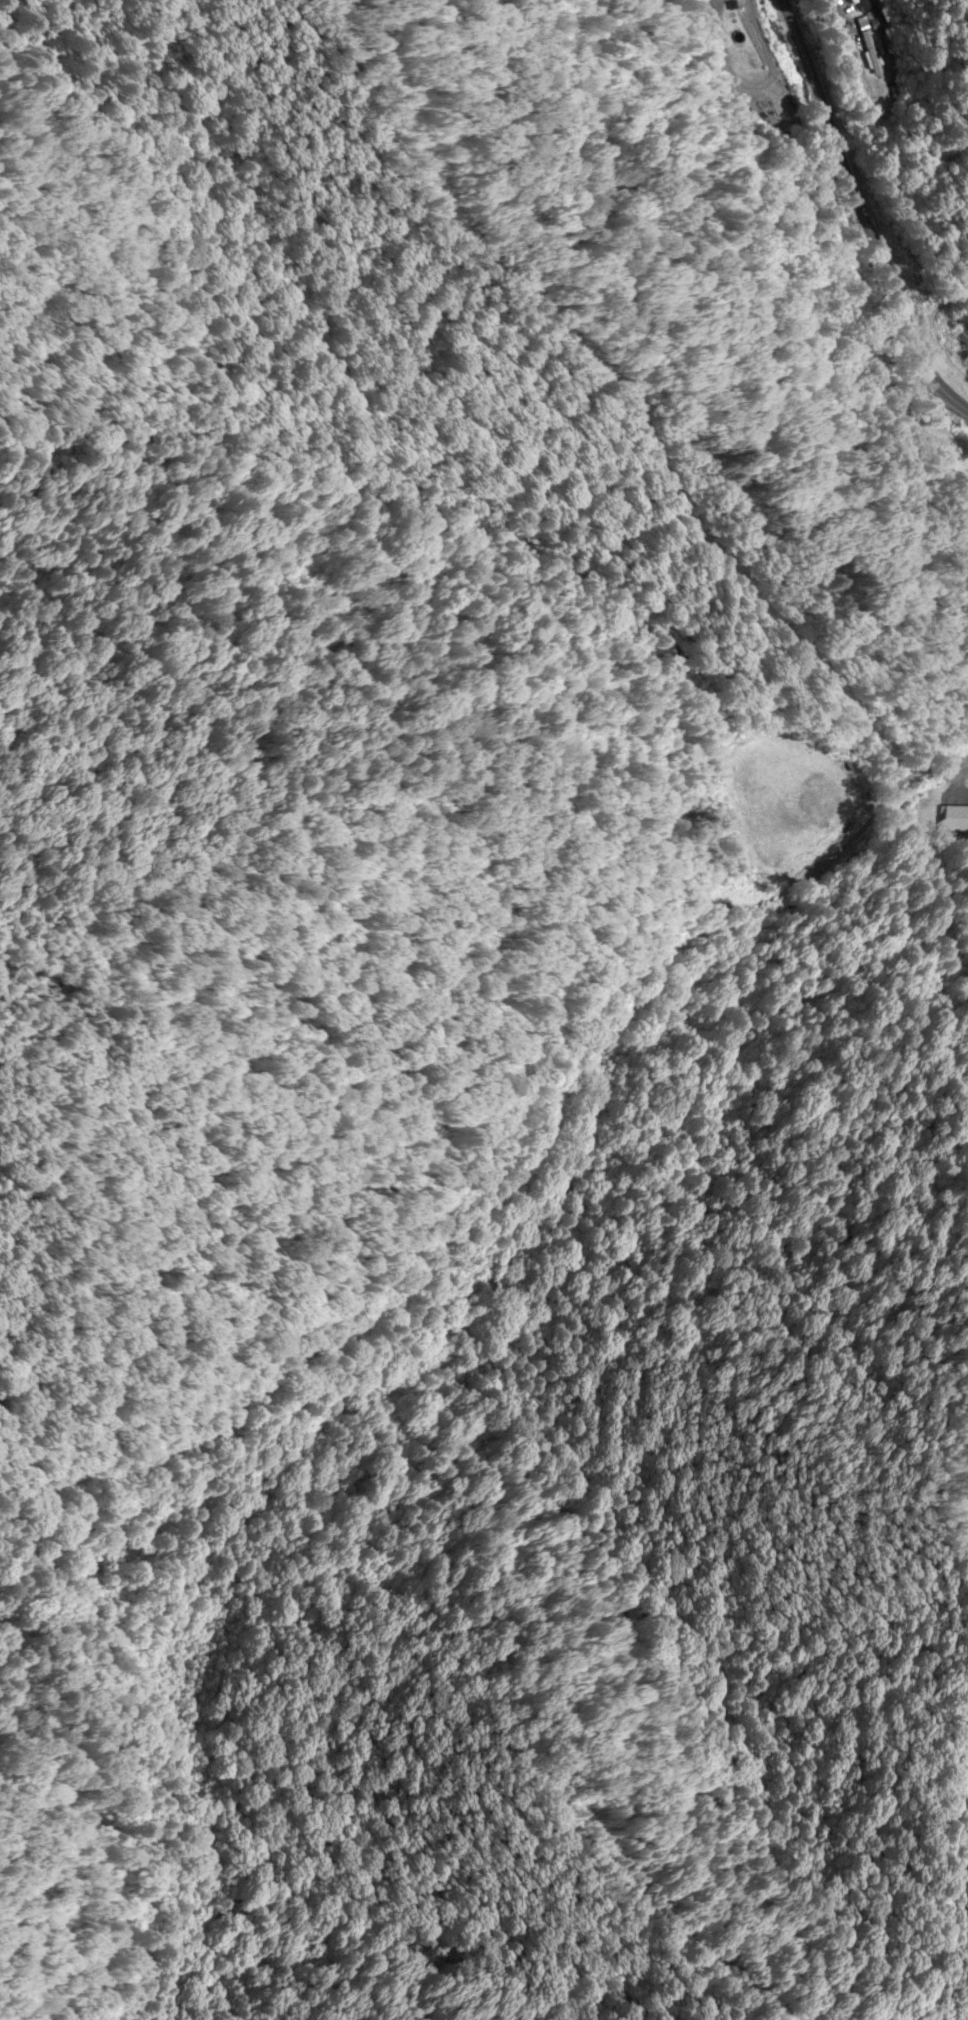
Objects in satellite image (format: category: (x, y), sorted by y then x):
building: (865, 6)
building: (871, 57)
road: (865, 215)
road: (653, 425)
building: (954, 820)

